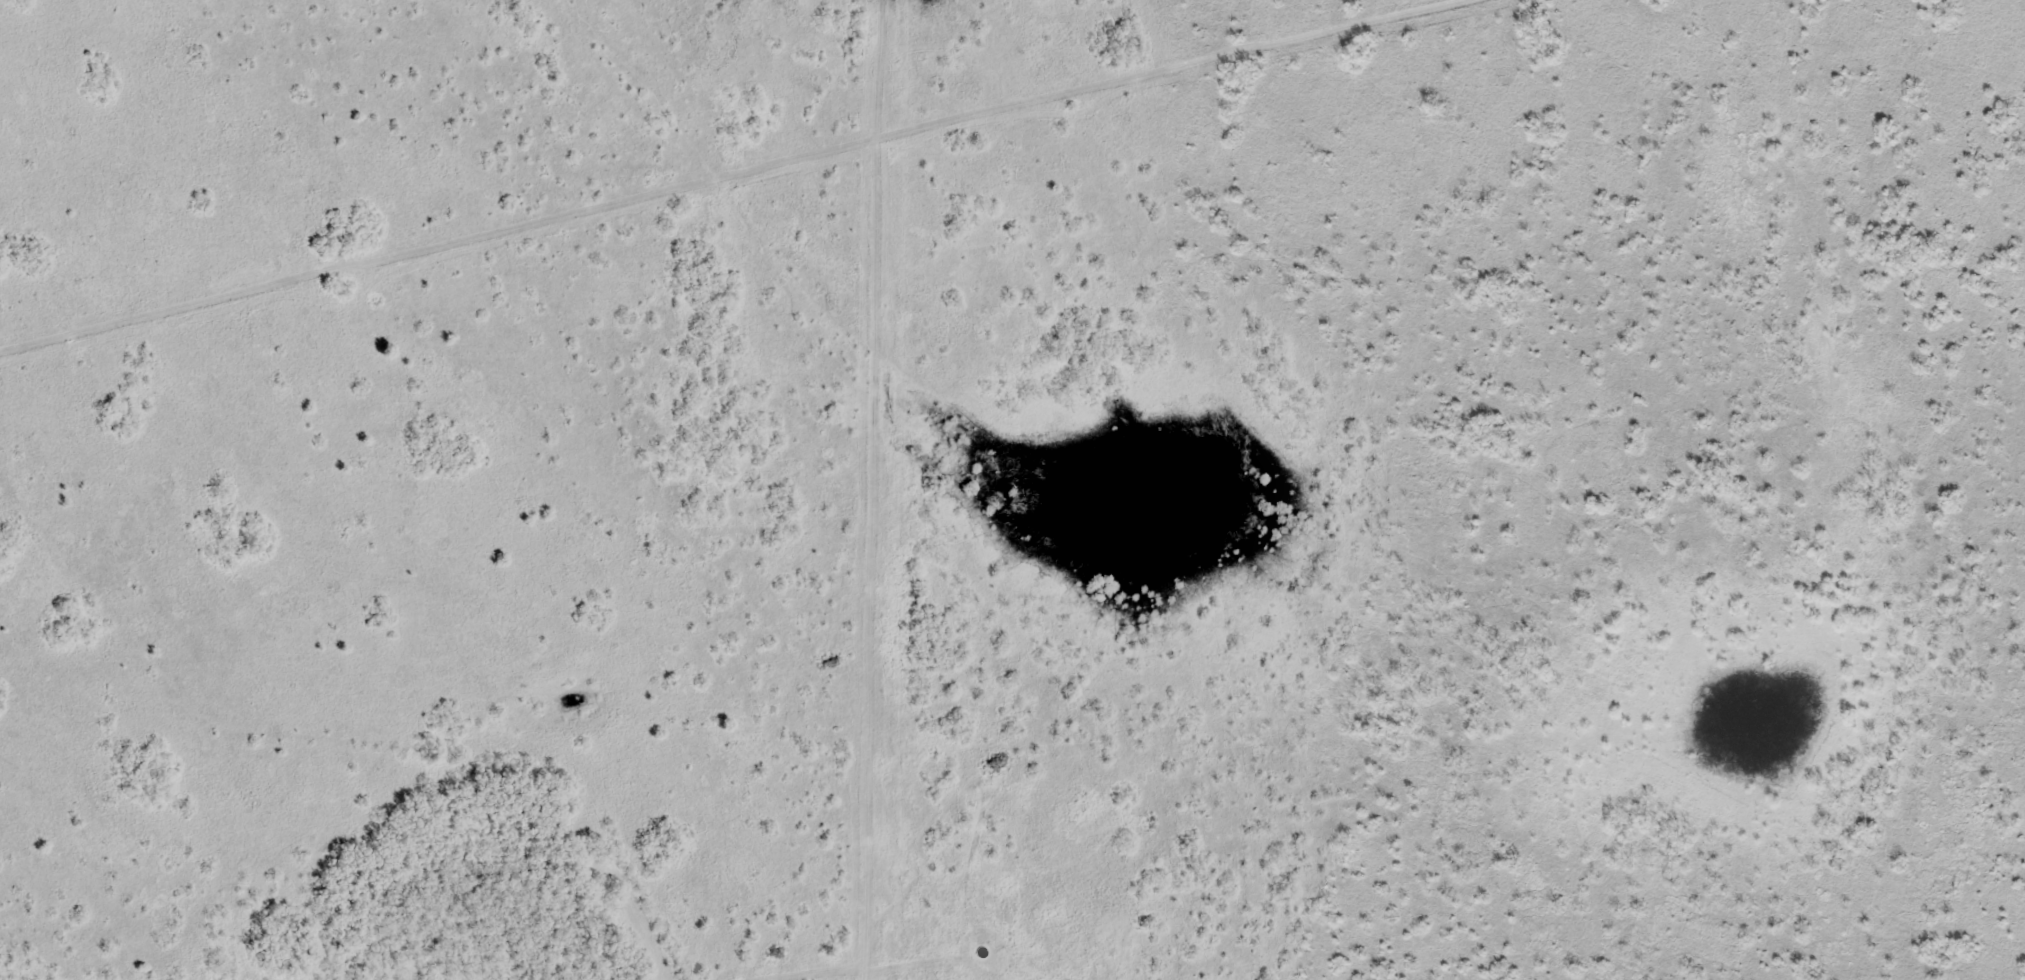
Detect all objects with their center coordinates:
road: (848, 477)
road: (346, 771)

